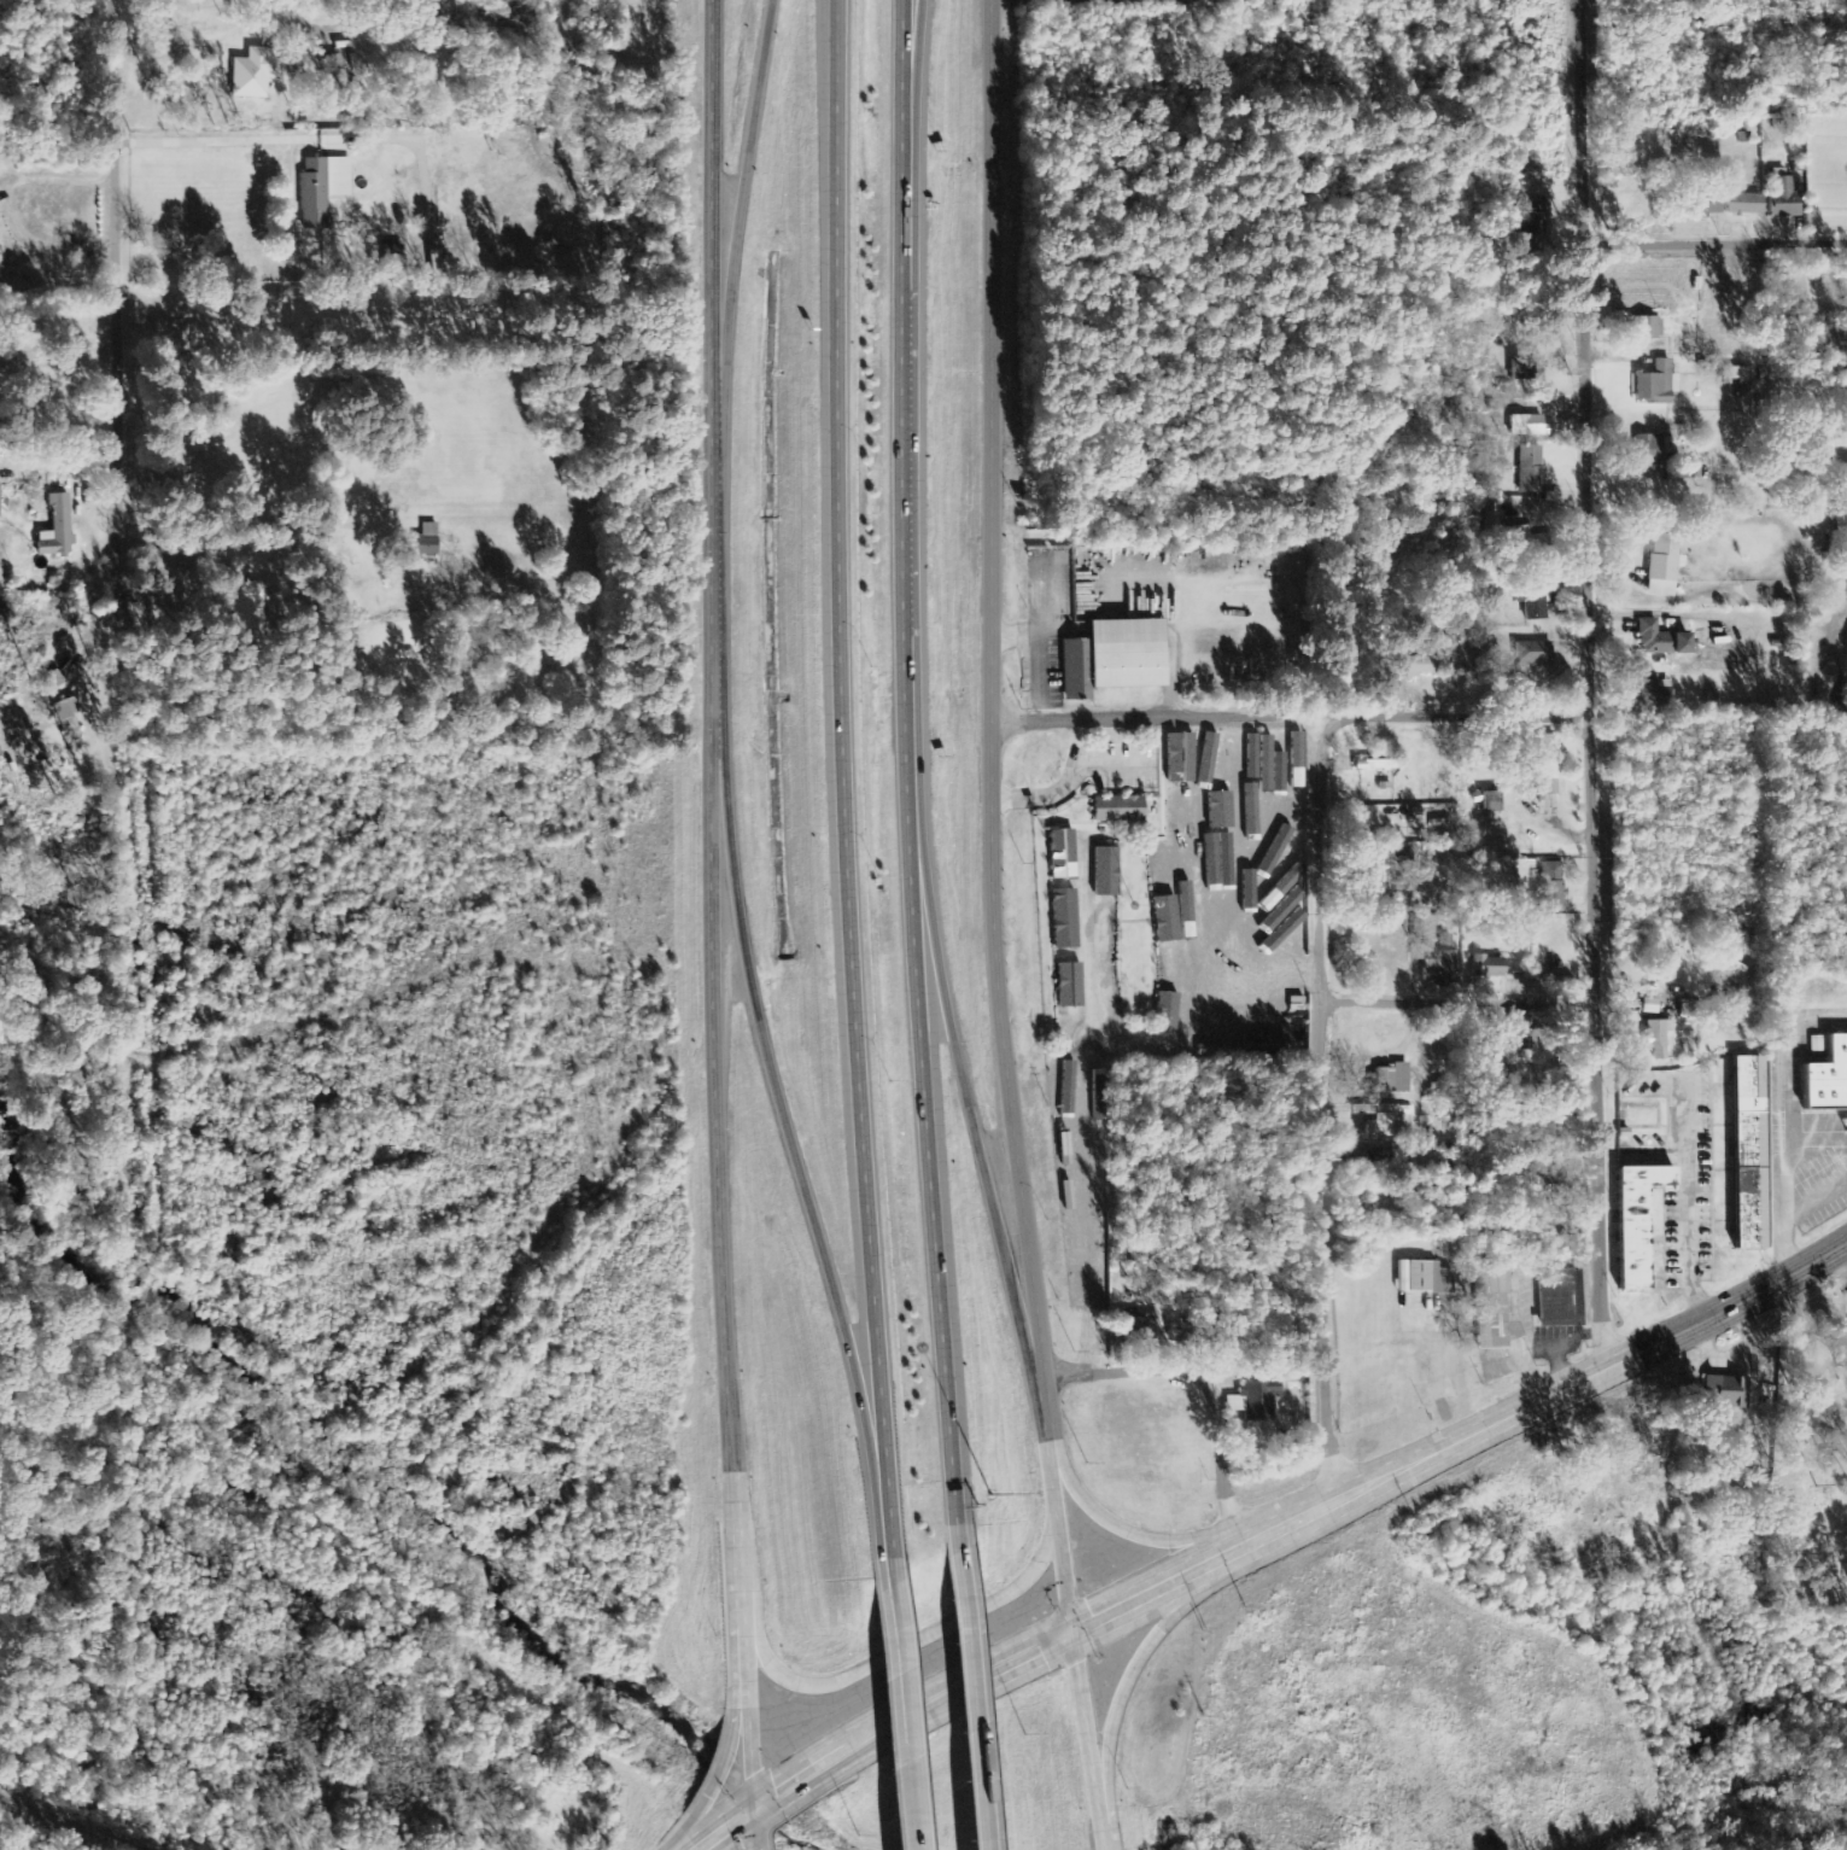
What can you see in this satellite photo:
building: (1192, 1)
road: (912, 52)
building: (256, 74)
building: (334, 75)
building: (320, 189)
building: (1784, 199)
building: (1701, 205)
building: (1743, 205)
road: (740, 217)
building: (1527, 217)
road: (1724, 239)
building: (1643, 329)
building: (1527, 373)
building: (1736, 375)
building: (1654, 385)
building: (1525, 427)
building: (1649, 451)
building: (1529, 471)
building: (0, 510)
road: (133, 523)
building: (54, 530)
building: (1522, 539)
building: (423, 542)
building: (1662, 566)
building: (1532, 602)
building: (249, 611)
building: (1653, 640)
building: (1532, 655)
building: (1124, 660)
building: (1411, 667)
road: (1592, 683)
building: (1650, 694)
building: (74, 716)
road: (1463, 716)
building: (1194, 753)
building: (1214, 755)
building: (1175, 761)
building: (1292, 761)
building: (1234, 764)
building: (1543, 764)
building: (1379, 766)
road: (916, 776)
road: (842, 790)
building: (1490, 804)
building: (1217, 805)
building: (1117, 811)
building: (1177, 812)
building: (1235, 824)
building: (1280, 827)
building: (1197, 830)
building: (1278, 847)
building: (1218, 854)
building: (1059, 856)
building: (1159, 866)
building: (1179, 868)
building: (1104, 874)
building: (1281, 883)
building: (1549, 886)
road: (992, 888)
building: (1395, 888)
building: (1226, 892)
road: (718, 904)
building: (1063, 921)
building: (1163, 922)
building: (1185, 927)
building: (1103, 932)
building: (1169, 968)
building: (1487, 968)
building: (1440, 971)
building: (1065, 990)
road: (1457, 1000)
building: (1107, 1003)
building: (1655, 1039)
building: (1515, 1041)
building: (1258, 1045)
road: (959, 1064)
building: (1823, 1075)
building: (1390, 1080)
building: (1063, 1091)
road: (1321, 1111)
building: (1380, 1122)
building: (1071, 1150)
building: (1747, 1155)
road: (797, 1156)
building: (1099, 1162)
building: (1100, 1213)
building: (1635, 1225)
building: (1421, 1279)
building: (1559, 1298)
building: (1489, 1307)
building: (1135, 1327)
building: (1151, 1329)
building: (1200, 1330)
road: (1206, 1389)
building: (1267, 1396)
street lamp: (990, 1502)
road: (1298, 1524)
road: (1124, 1529)
traffic signals: (1074, 1633)
road: (1151, 1645)
road: (892, 1653)
road: (964, 1700)
road: (900, 1715)
road: (714, 1770)
traffic signals: (752, 1808)
road: (1103, 1810)
railway: (64, 1826)
road: (724, 1828)
road: (754, 1828)

